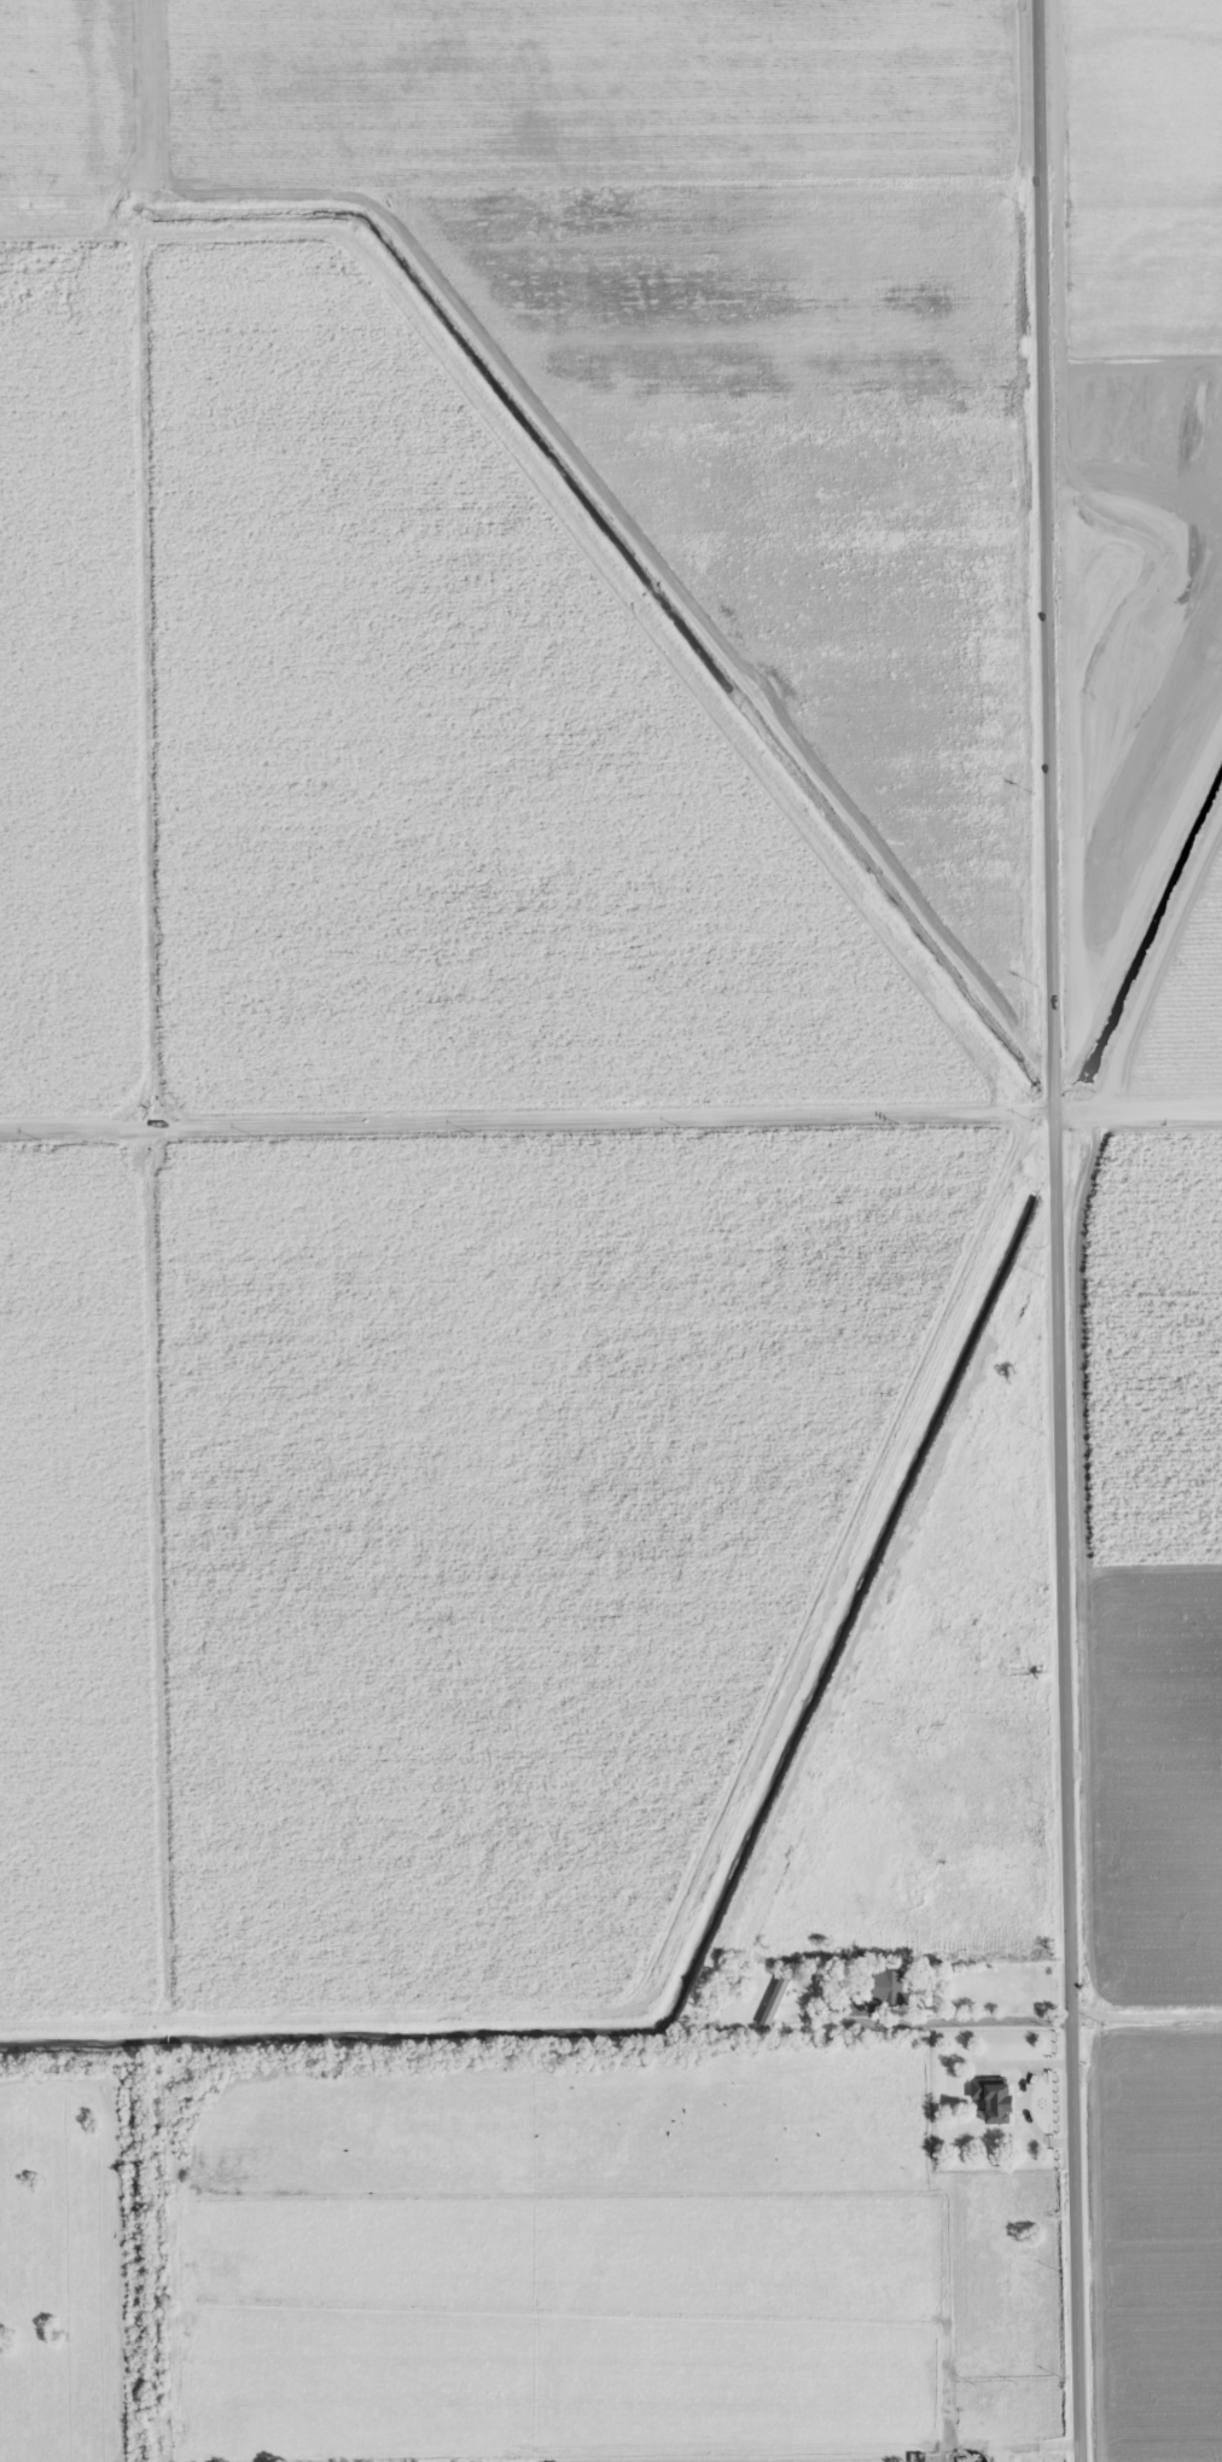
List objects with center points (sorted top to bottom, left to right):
road: (610, 1122)
road: (1064, 1230)
railway: (874, 1641)
building: (888, 1986)
road: (1150, 1992)
building: (774, 2002)
building: (854, 2007)
building: (994, 2098)
road: (718, 2167)
building: (965, 2458)

